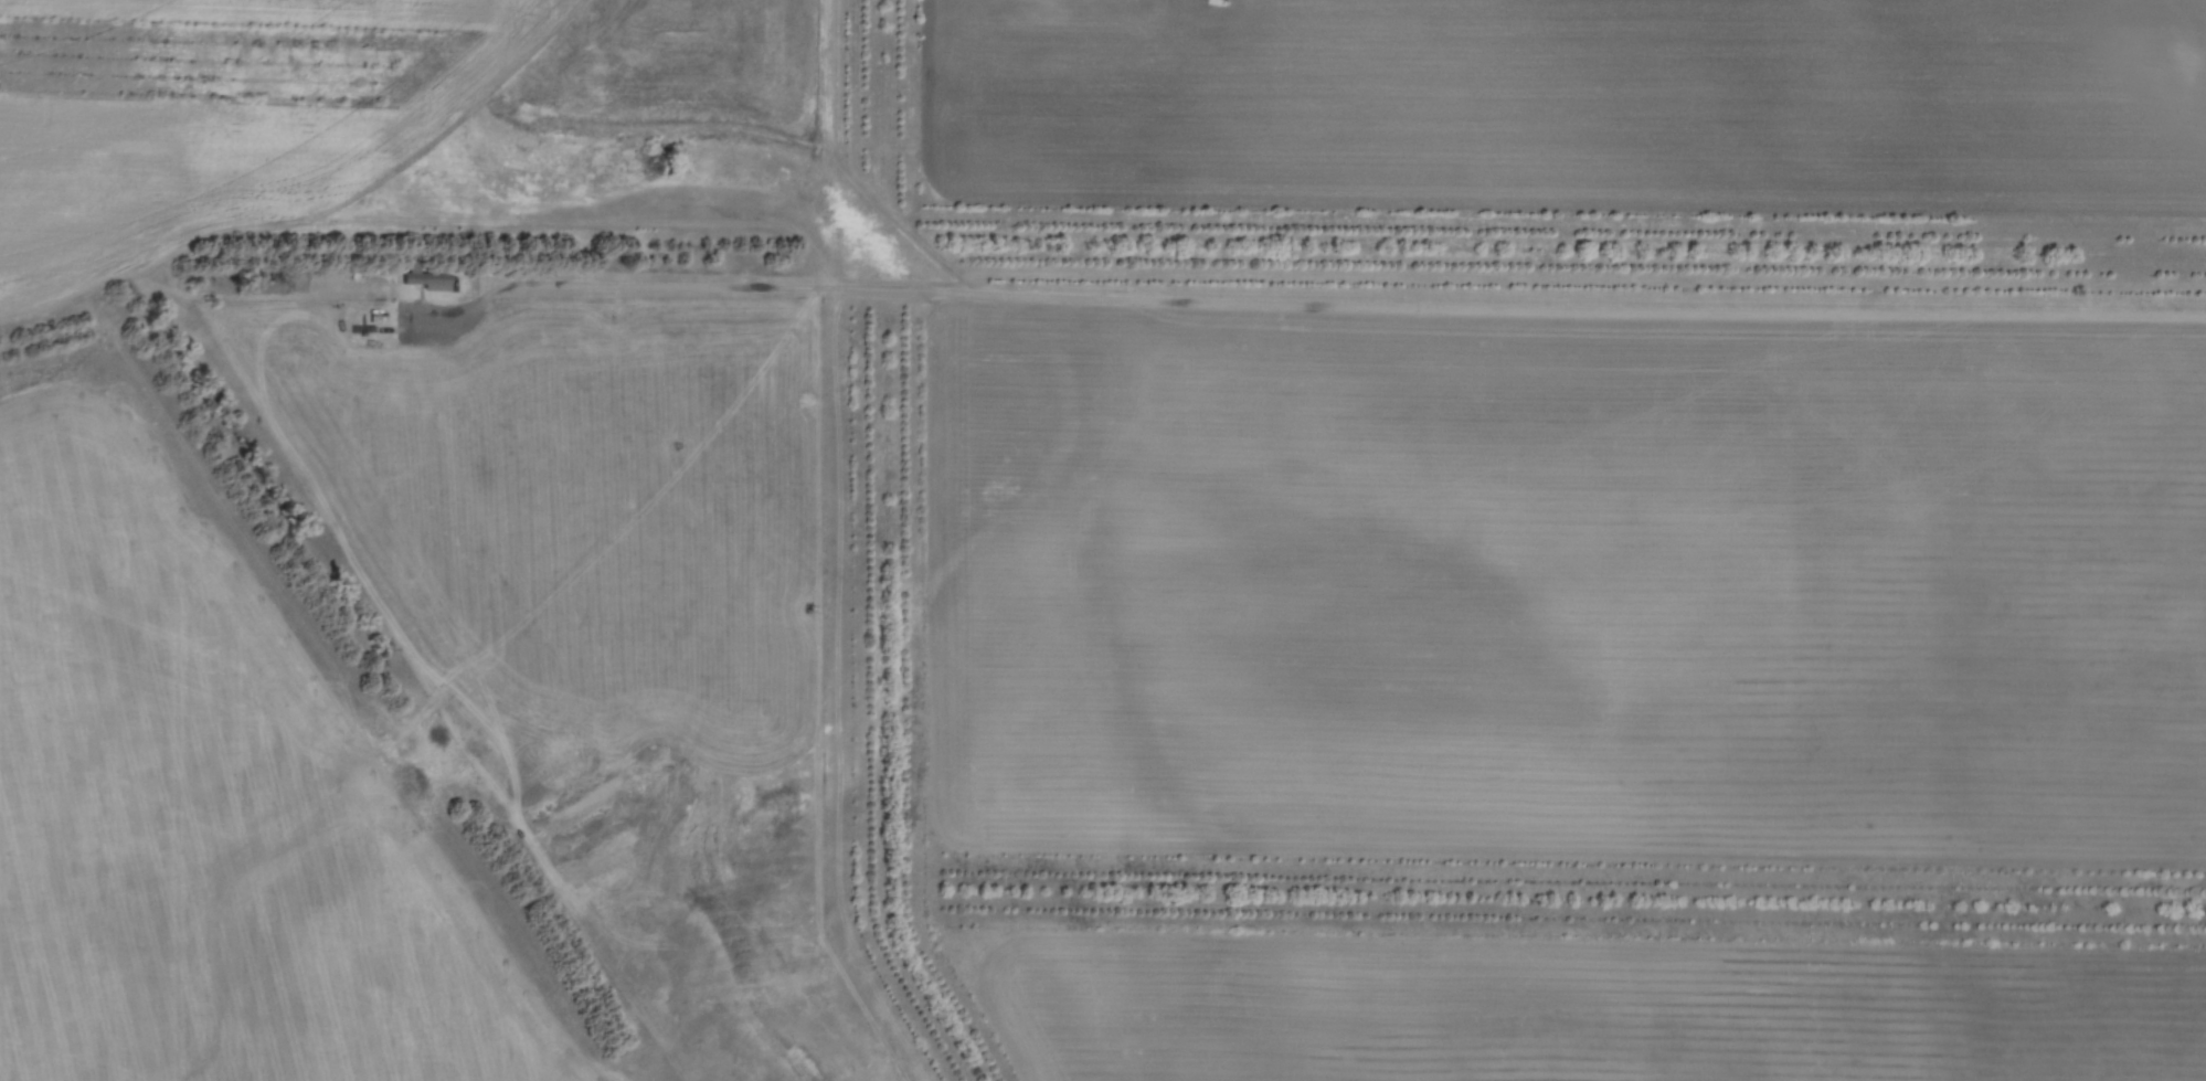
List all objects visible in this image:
crop: (1619, 106)
crop: (197, 108)
building: (426, 277)
road: (1280, 300)
crop: (1577, 579)
crop: (208, 822)
crop: (1601, 1017)

